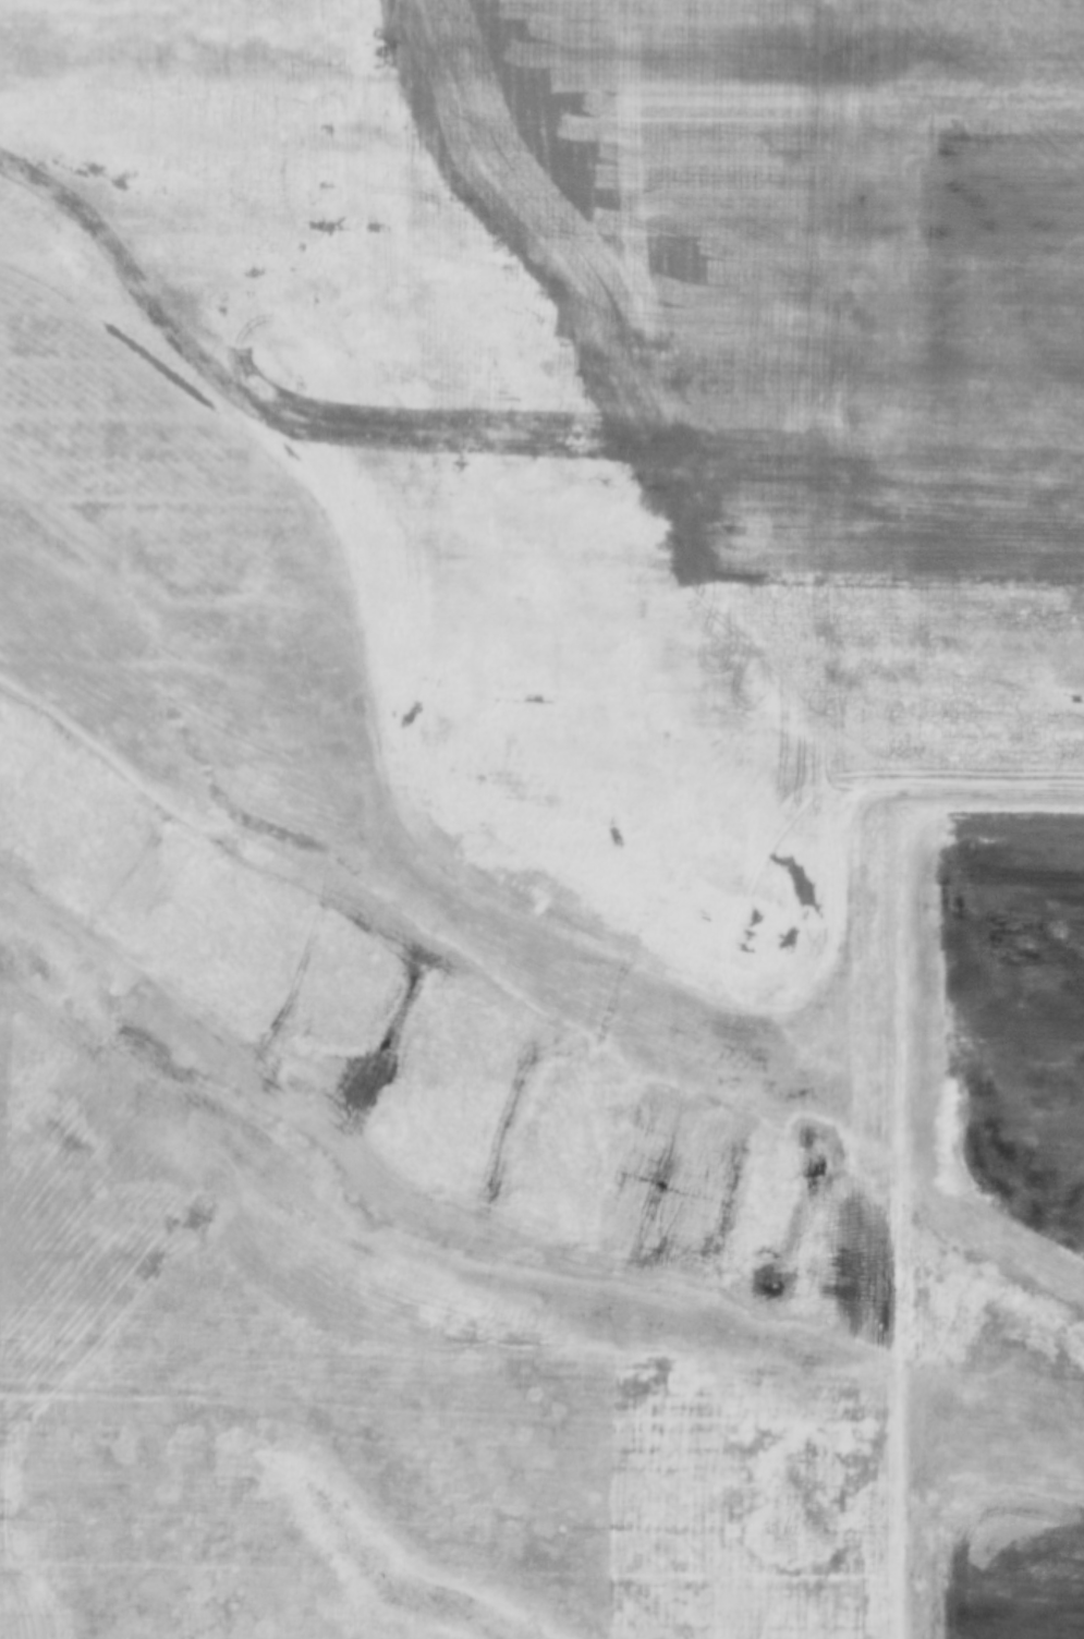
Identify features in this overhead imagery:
road: (903, 1143)

